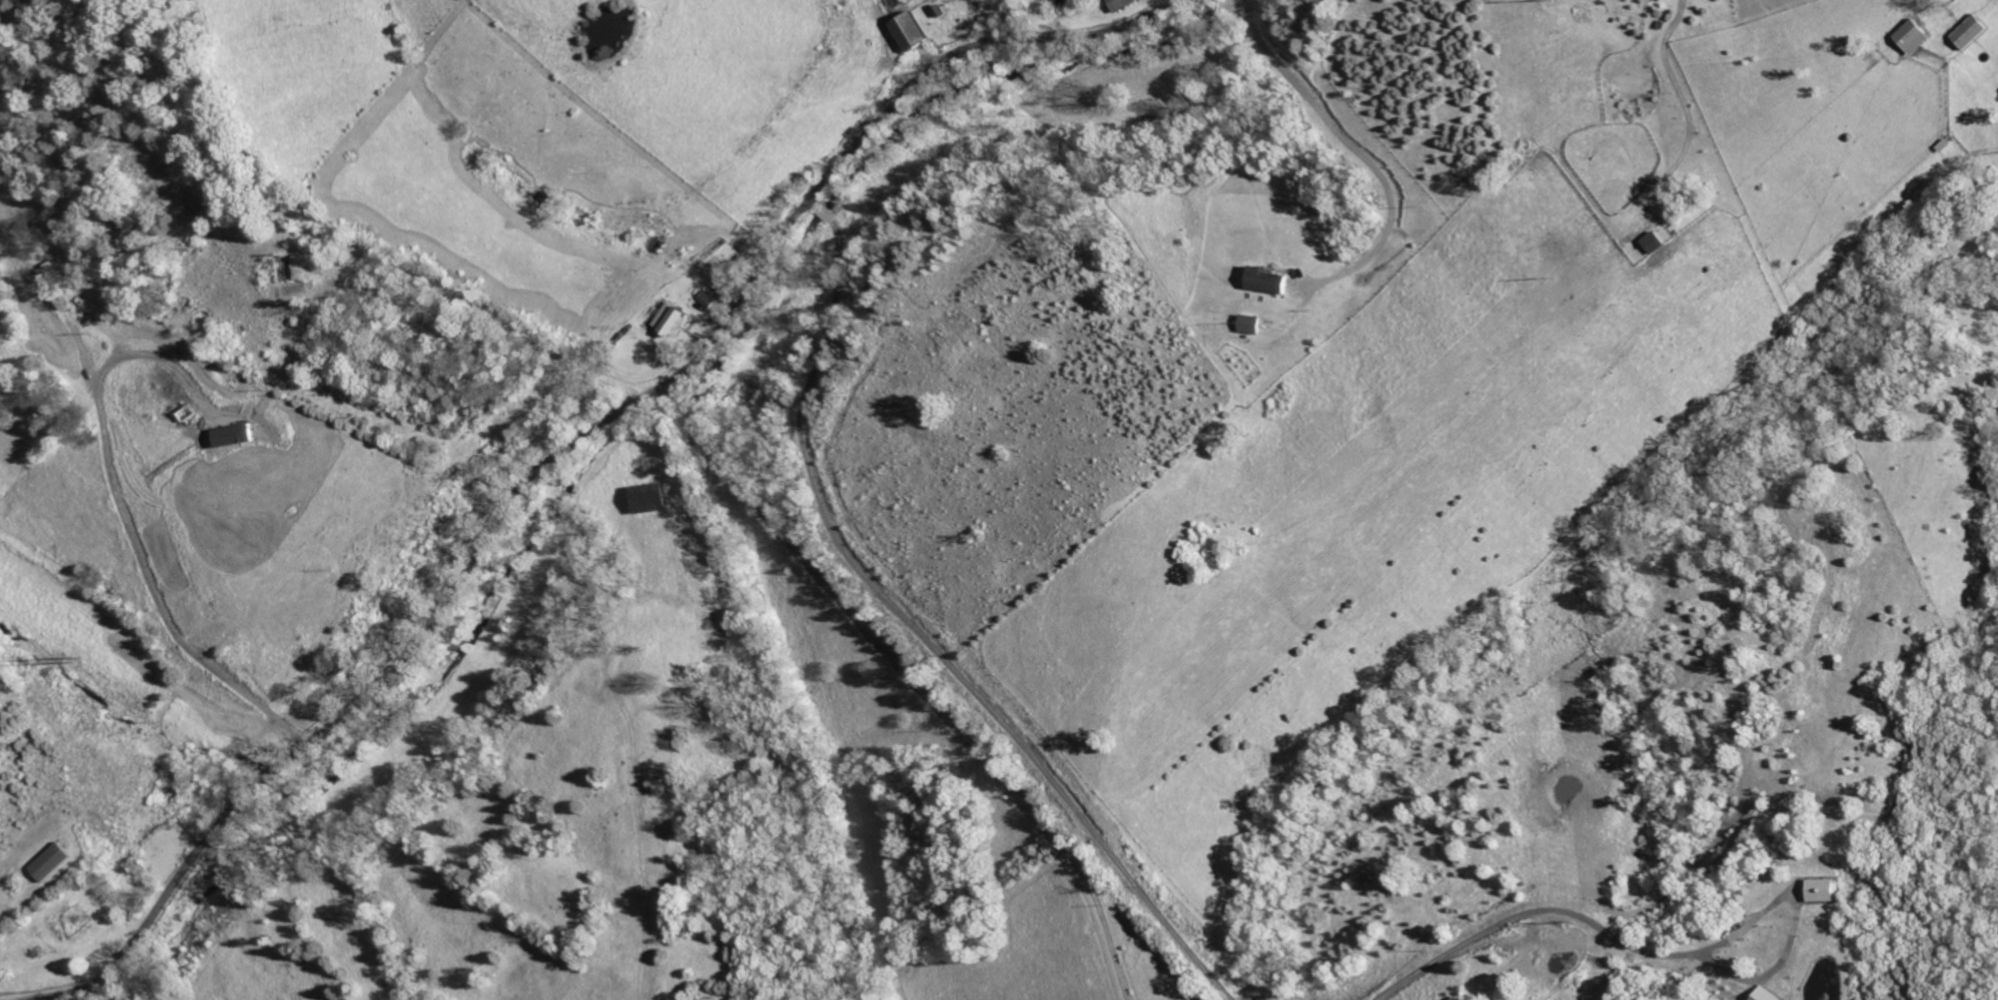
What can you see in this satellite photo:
building: (1127, 3)
building: (917, 31)
building: (1964, 33)
building: (1906, 38)
road: (1356, 152)
building: (1269, 280)
building: (677, 318)
road: (571, 451)
road: (910, 634)
road: (912, 684)
building: (55, 861)
building: (1827, 890)
road: (1528, 912)
road: (1797, 921)
building: (1771, 995)
road: (55, 997)

